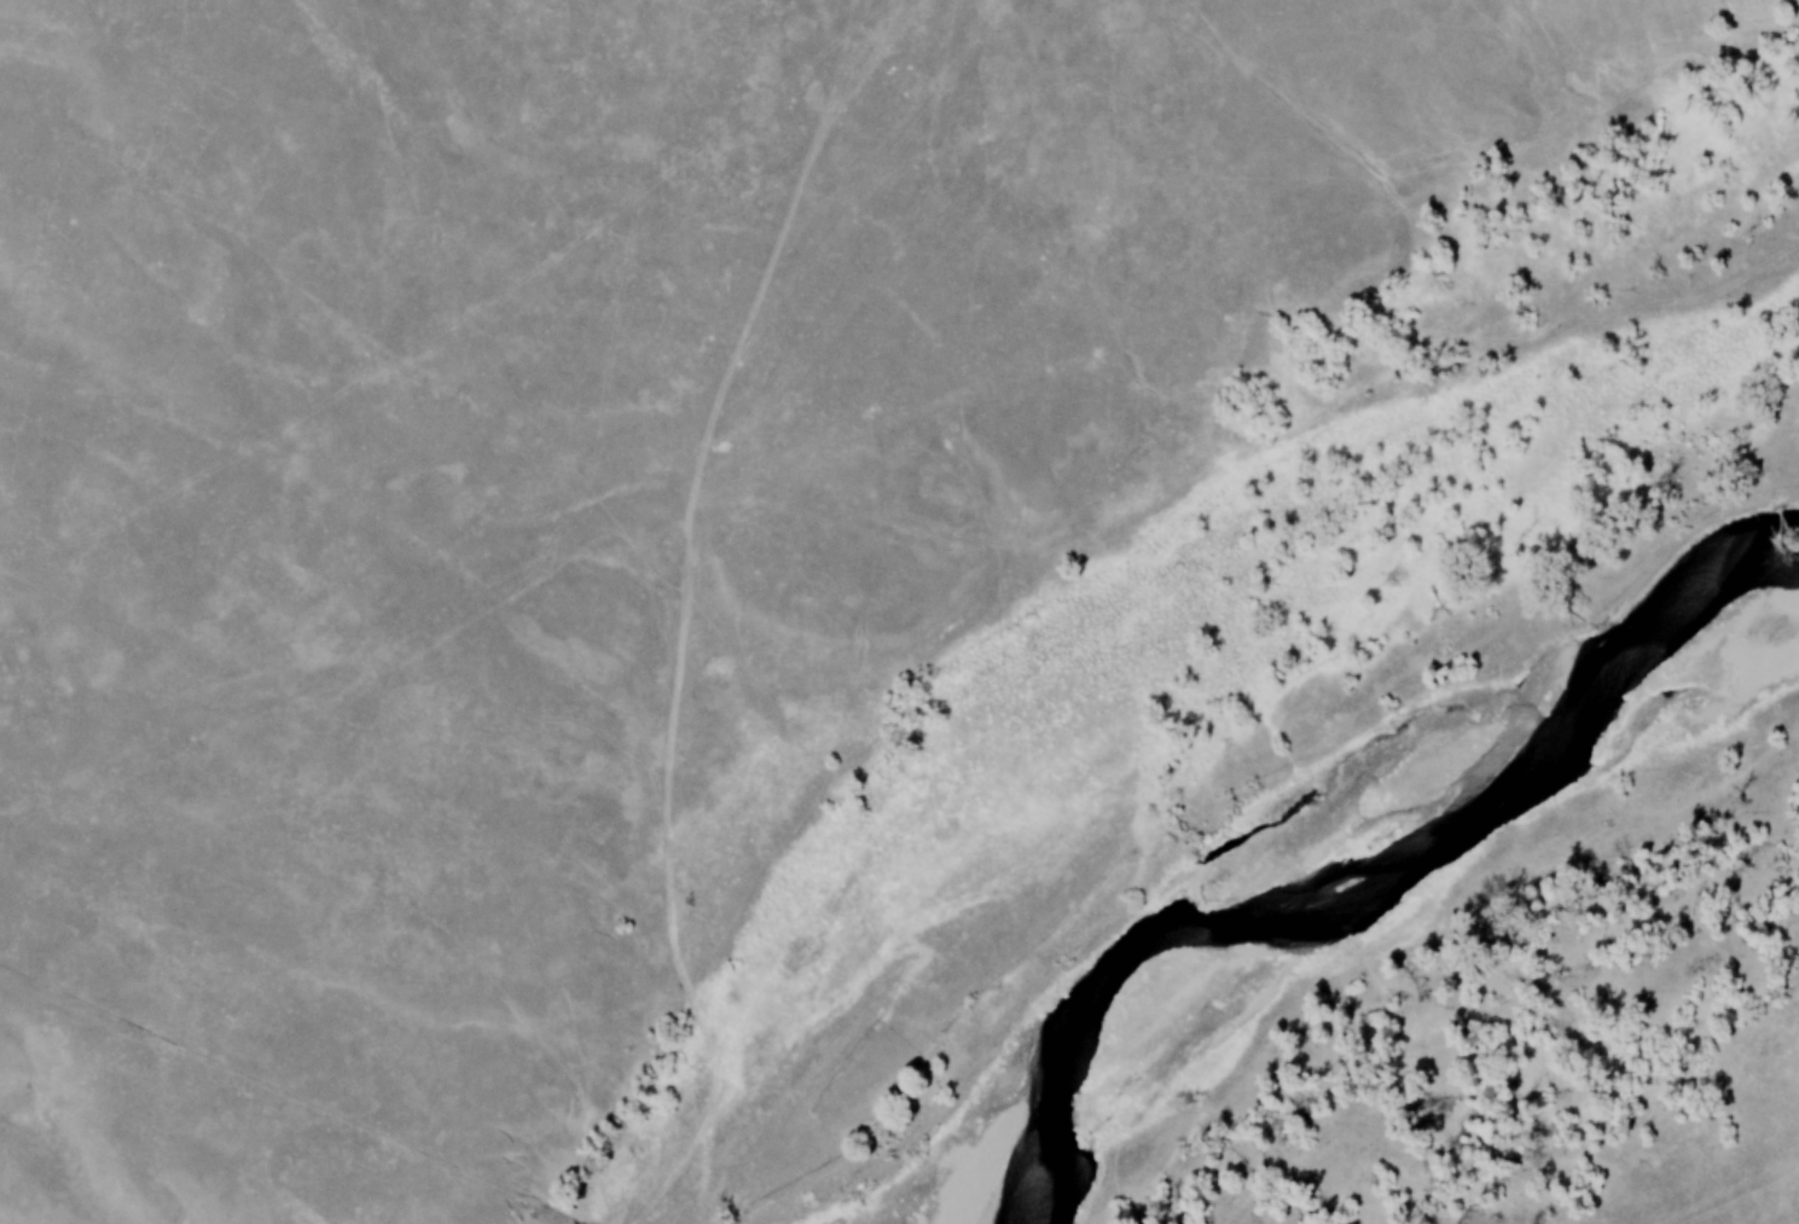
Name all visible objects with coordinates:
river: (1353, 884)

